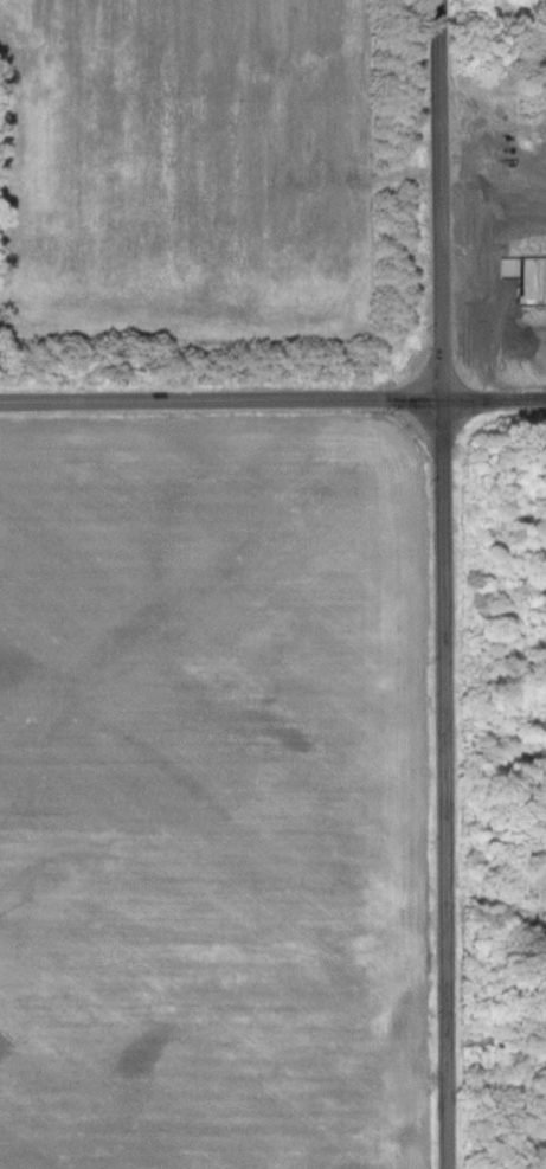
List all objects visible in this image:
road: (442, 199)
road: (495, 398)
road: (221, 400)
road: (447, 784)

